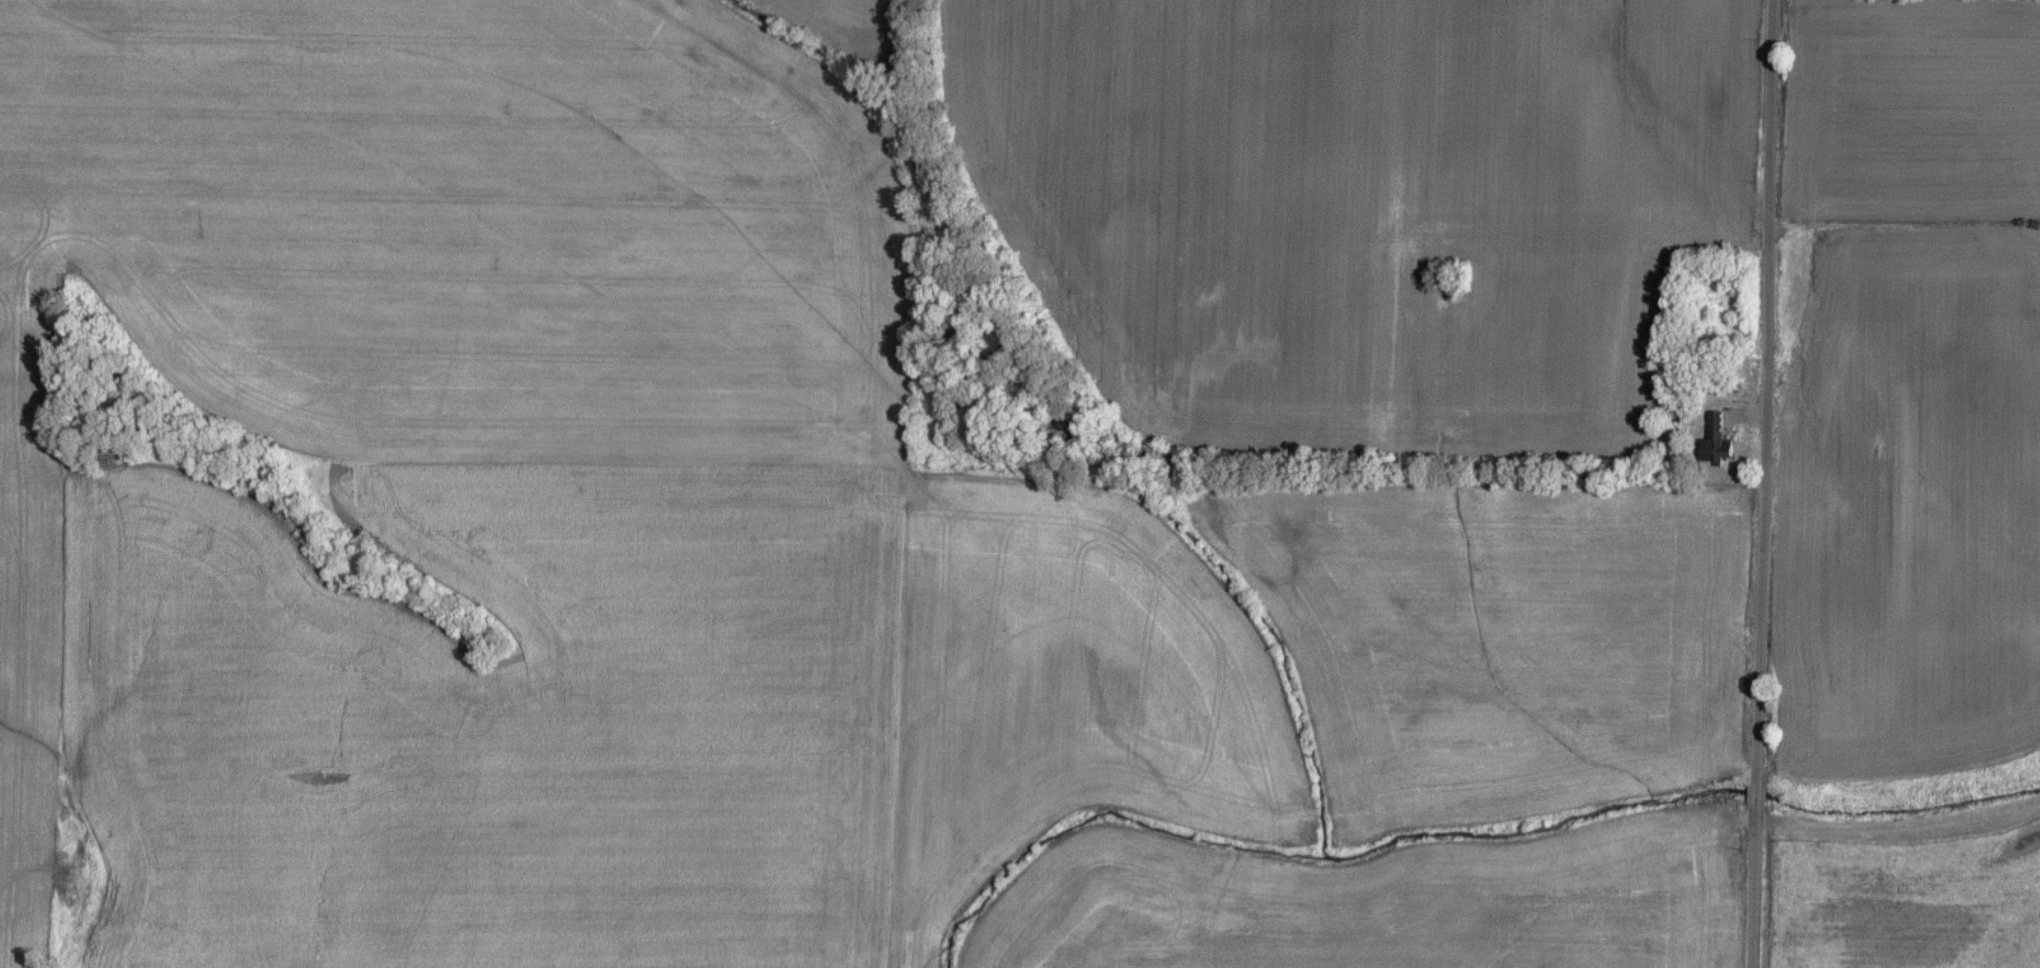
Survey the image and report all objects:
road: (1902, 225)
building: (1750, 366)
building: (1715, 443)
road: (1763, 484)

